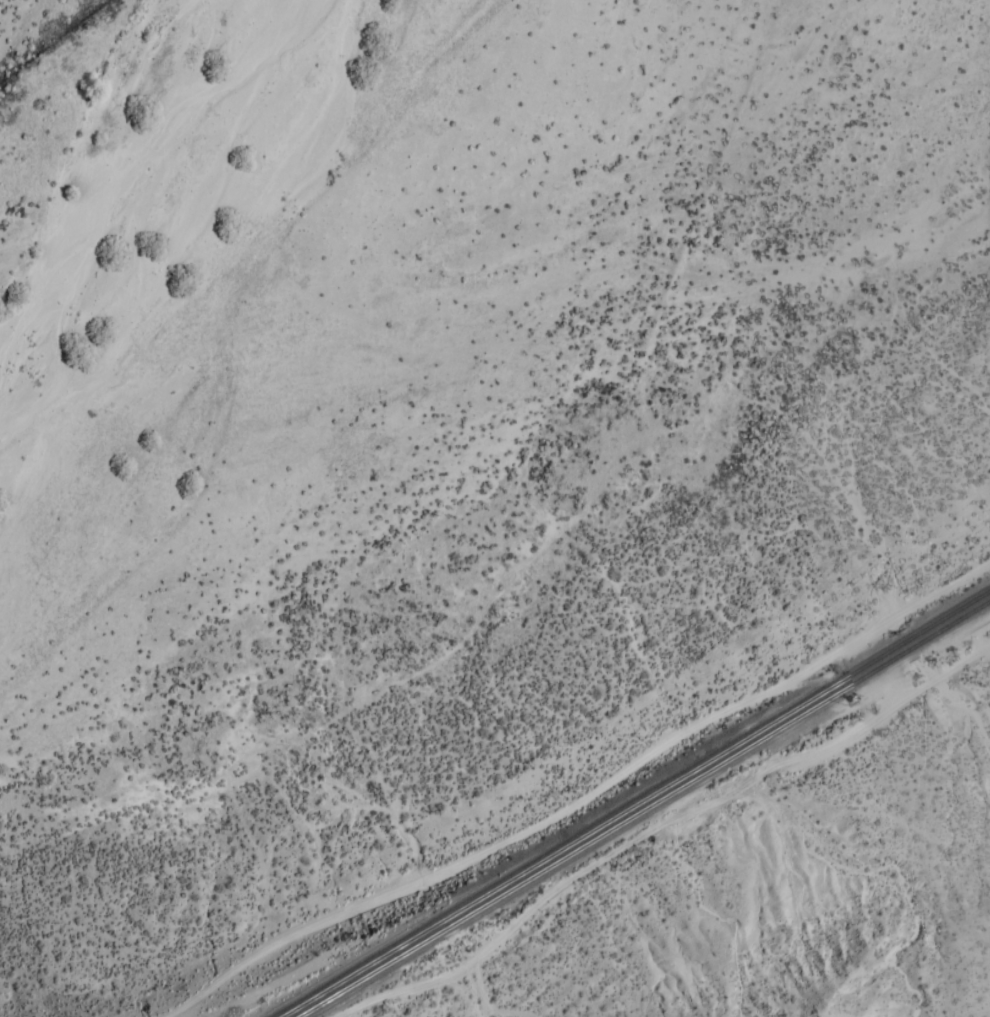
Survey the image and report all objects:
railway: (951, 613)
railway: (953, 623)
railway: (904, 642)
railway: (908, 649)
road: (587, 790)
railway: (587, 831)
railway: (598, 835)

